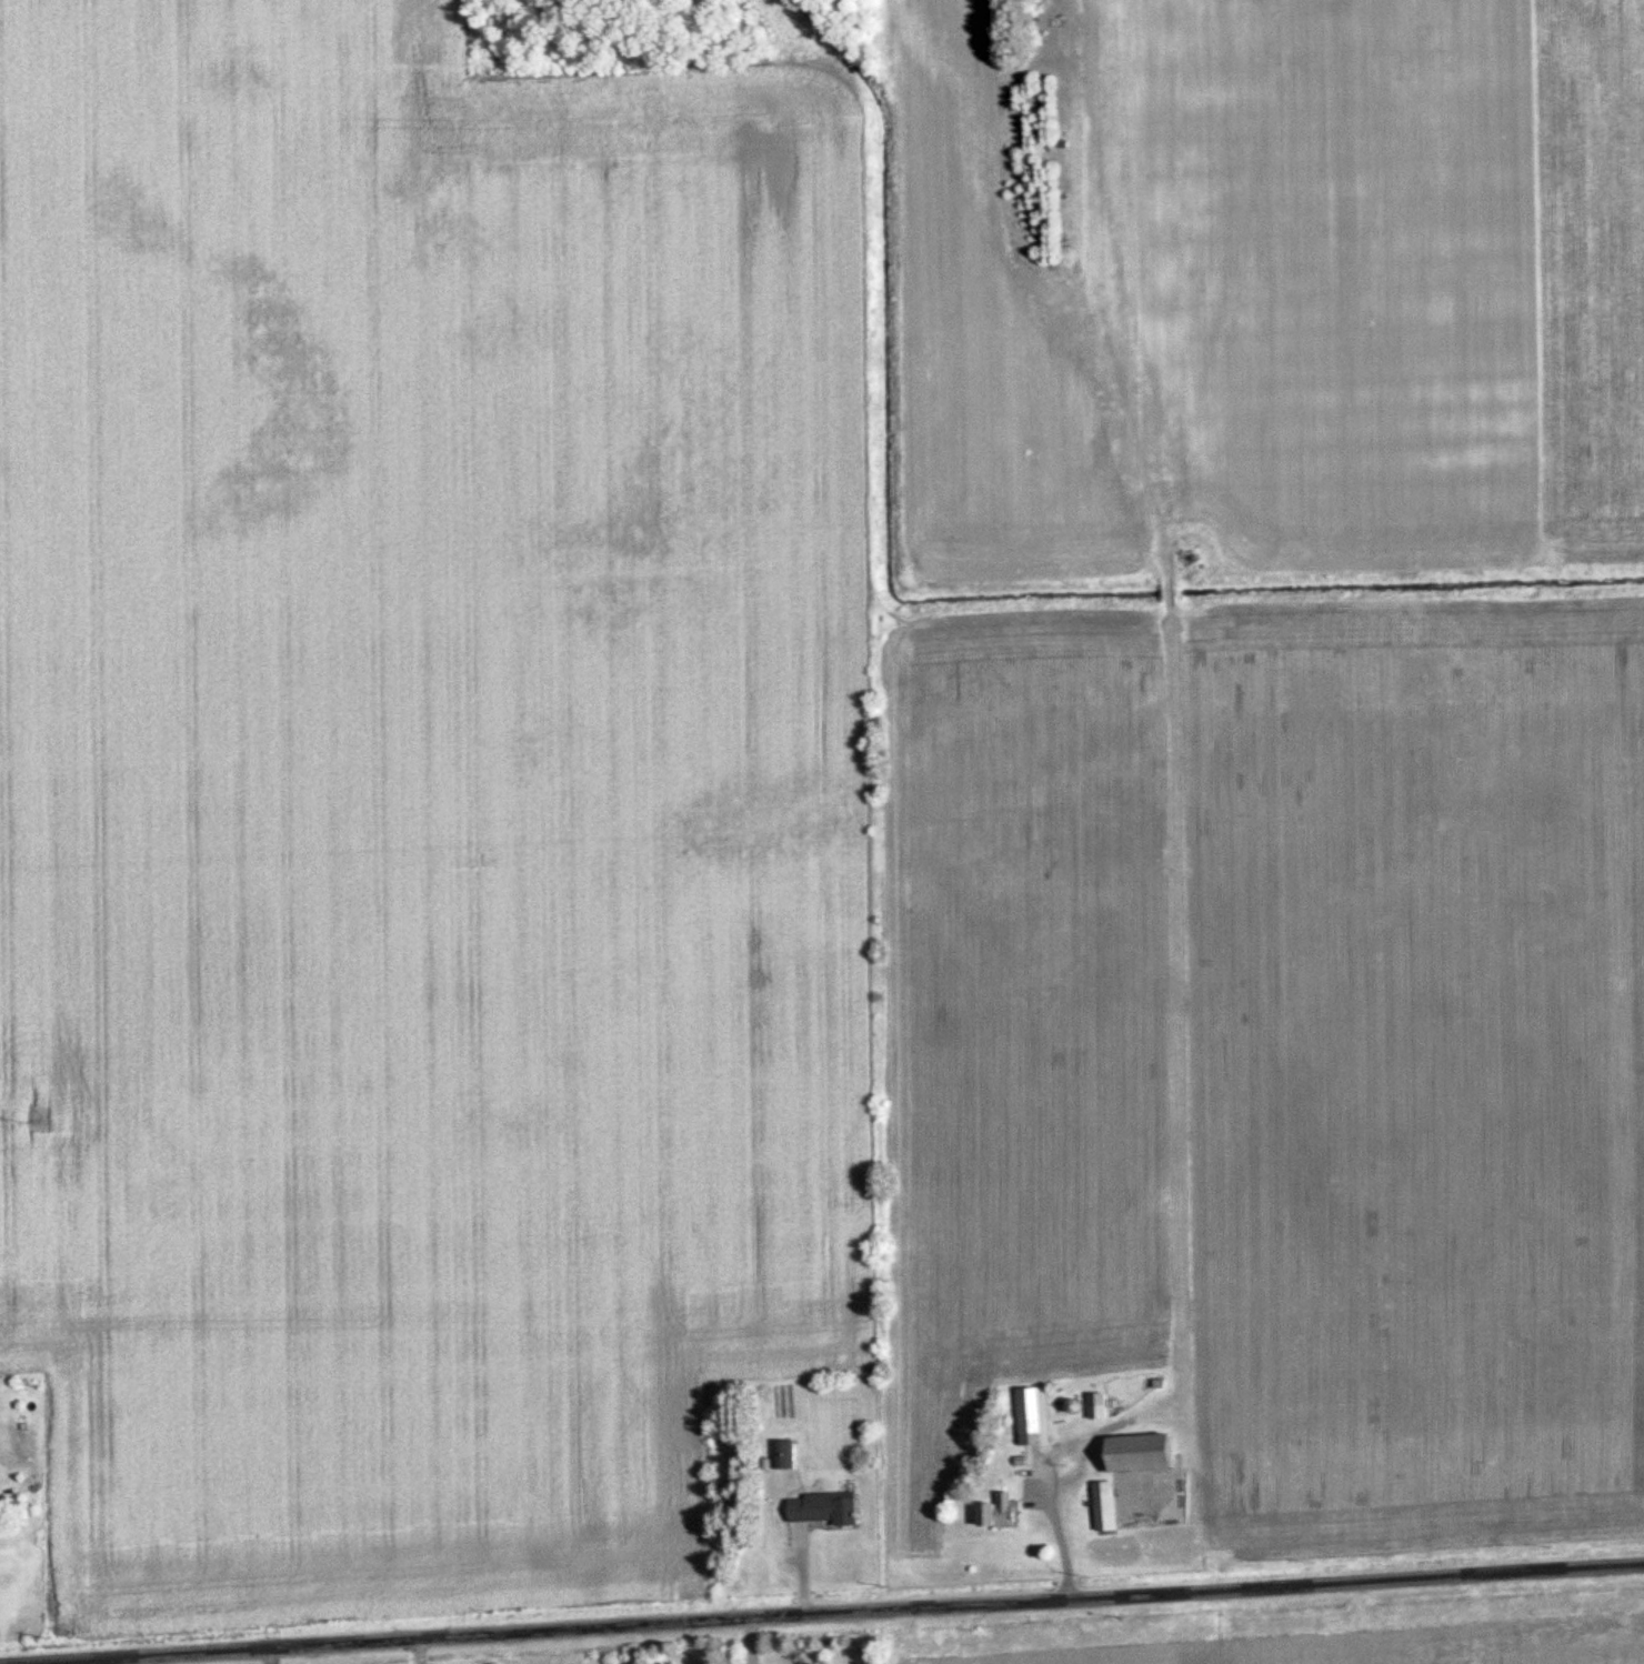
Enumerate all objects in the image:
road: (1181, 1072)
building: (1099, 1405)
building: (1030, 1415)
building: (1147, 1451)
building: (784, 1454)
building: (1107, 1505)
building: (828, 1506)
building: (1001, 1511)
road: (825, 1612)

